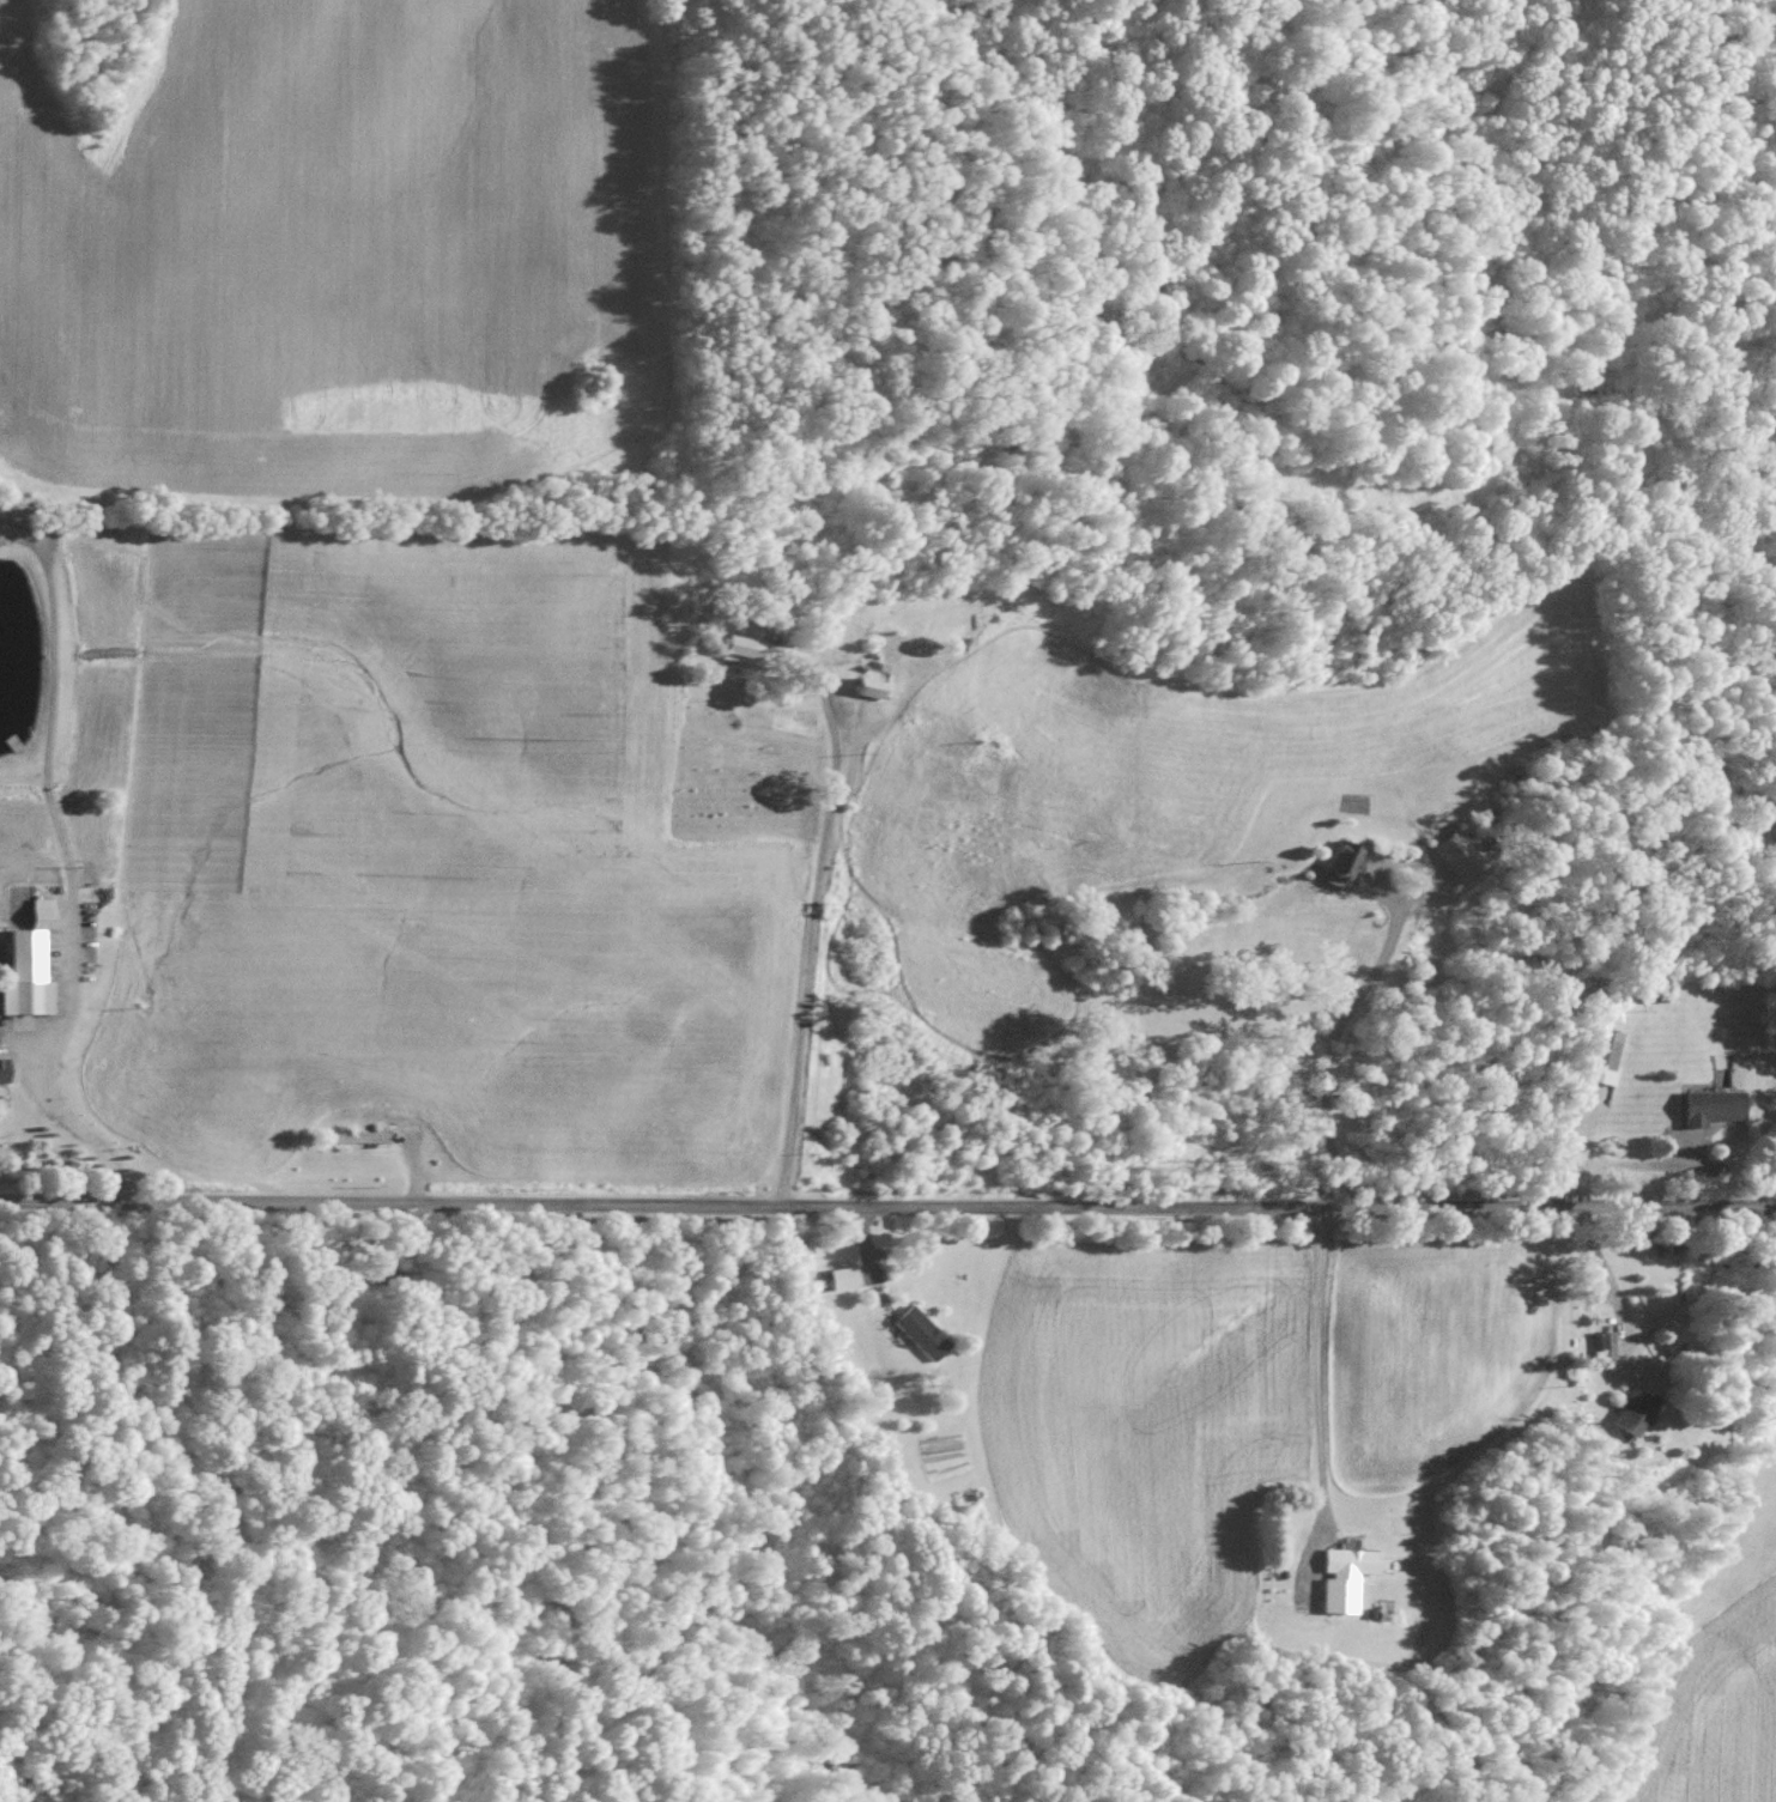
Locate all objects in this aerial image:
building: (745, 643)
building: (872, 686)
building: (1456, 855)
building: (1346, 857)
road: (806, 891)
building: (43, 911)
building: (26, 975)
building: (1606, 1056)
building: (5, 1070)
building: (1714, 1106)
building: (360, 1136)
road: (887, 1207)
building: (844, 1278)
building: (925, 1333)
building: (1606, 1345)
building: (1636, 1412)
building: (1347, 1577)

